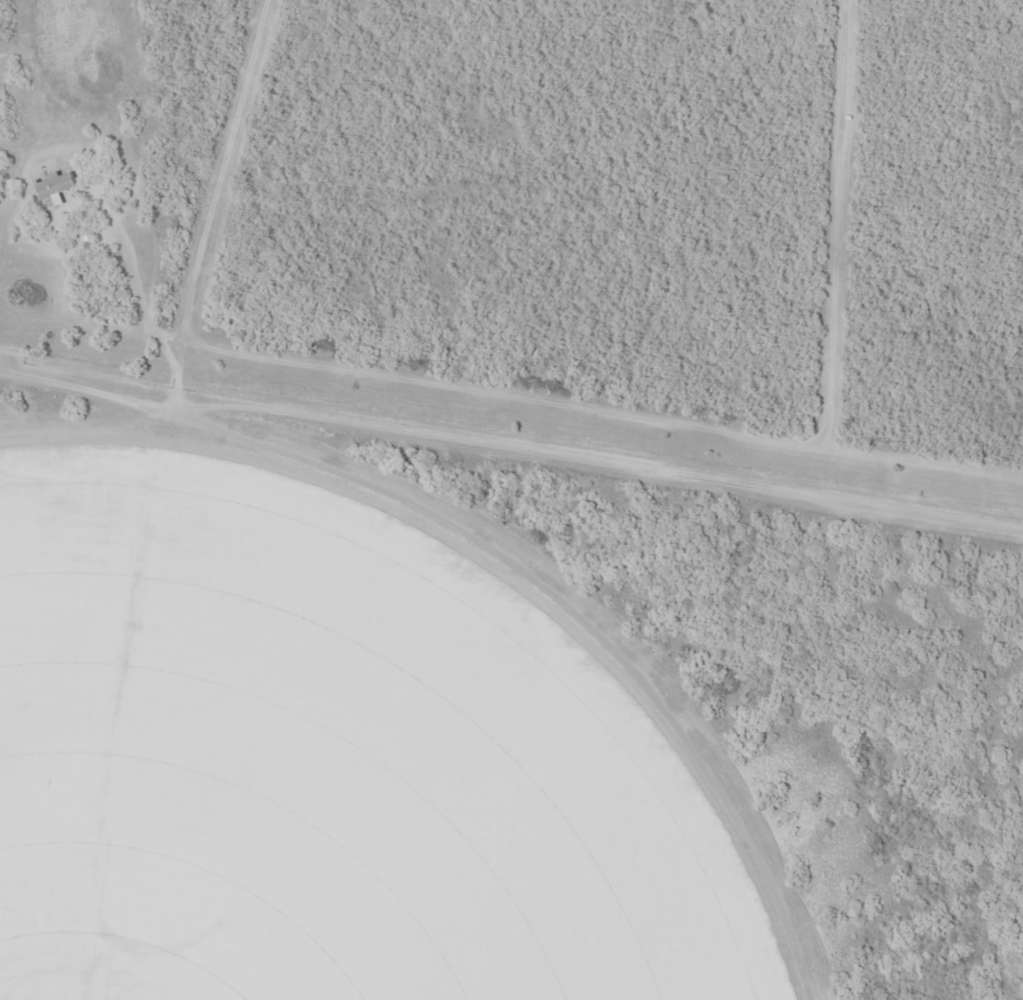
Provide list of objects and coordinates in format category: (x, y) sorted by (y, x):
building: (55, 186)
road: (146, 494)

